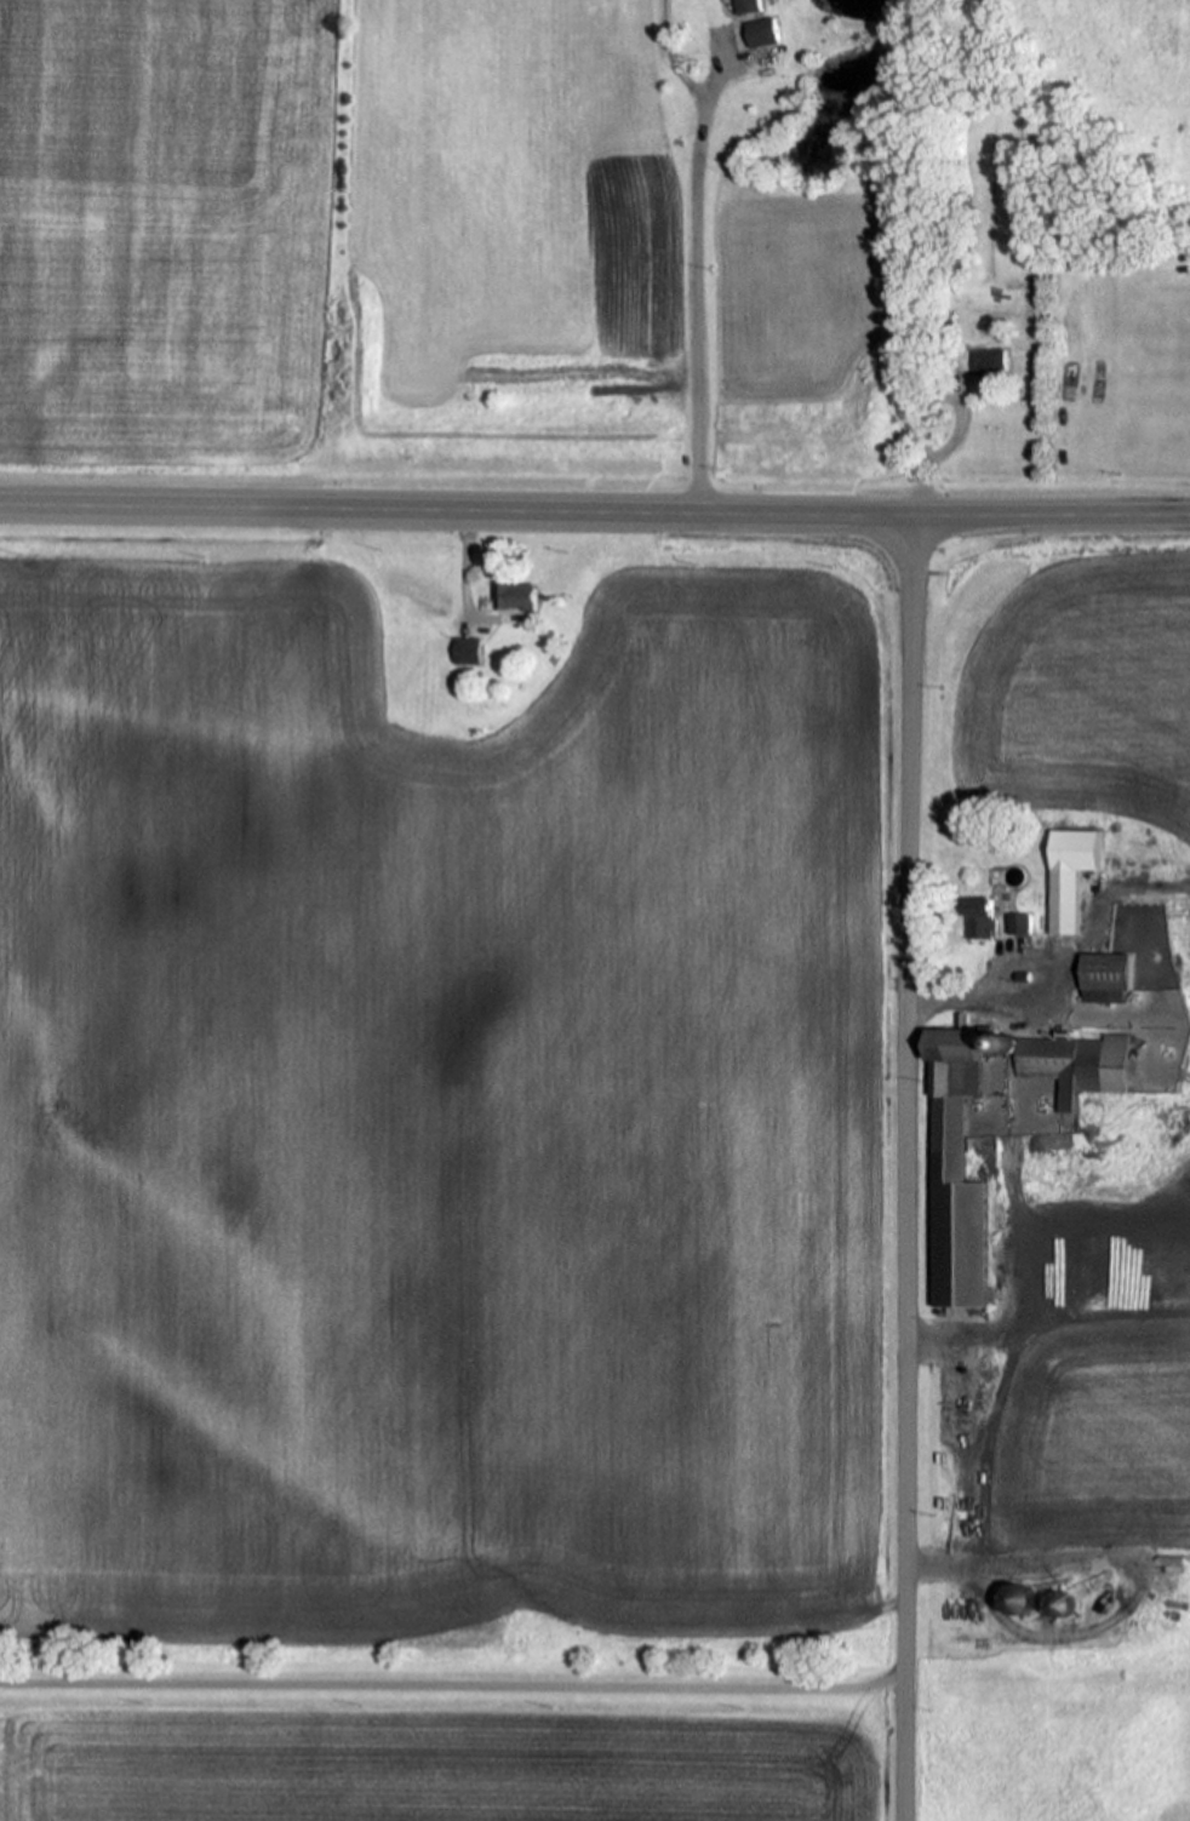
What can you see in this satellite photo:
building: (750, 7)
building: (766, 35)
road: (663, 56)
building: (1177, 245)
building: (1143, 246)
road: (687, 274)
building: (978, 361)
road: (454, 509)
road: (1051, 516)
building: (517, 597)
building: (464, 652)
building: (996, 876)
building: (1013, 876)
building: (1065, 900)
building: (982, 918)
building: (1018, 923)
building: (1109, 973)
building: (1023, 977)
road: (1034, 989)
building: (1091, 996)
building: (1111, 996)
building: (992, 1041)
building: (1007, 1043)
building: (1077, 1065)
building: (954, 1092)
road: (906, 1168)
building: (1019, 1600)
building: (1060, 1605)
road: (453, 1690)

